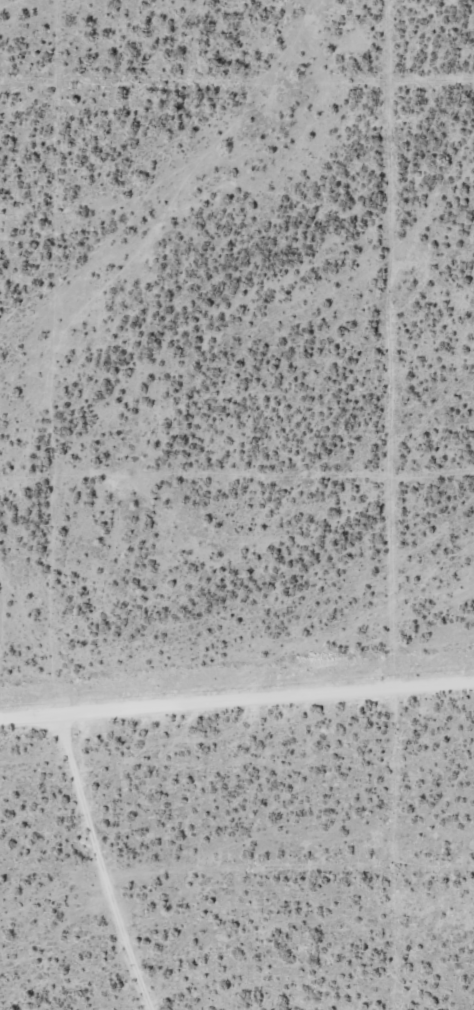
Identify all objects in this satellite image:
road: (236, 712)

